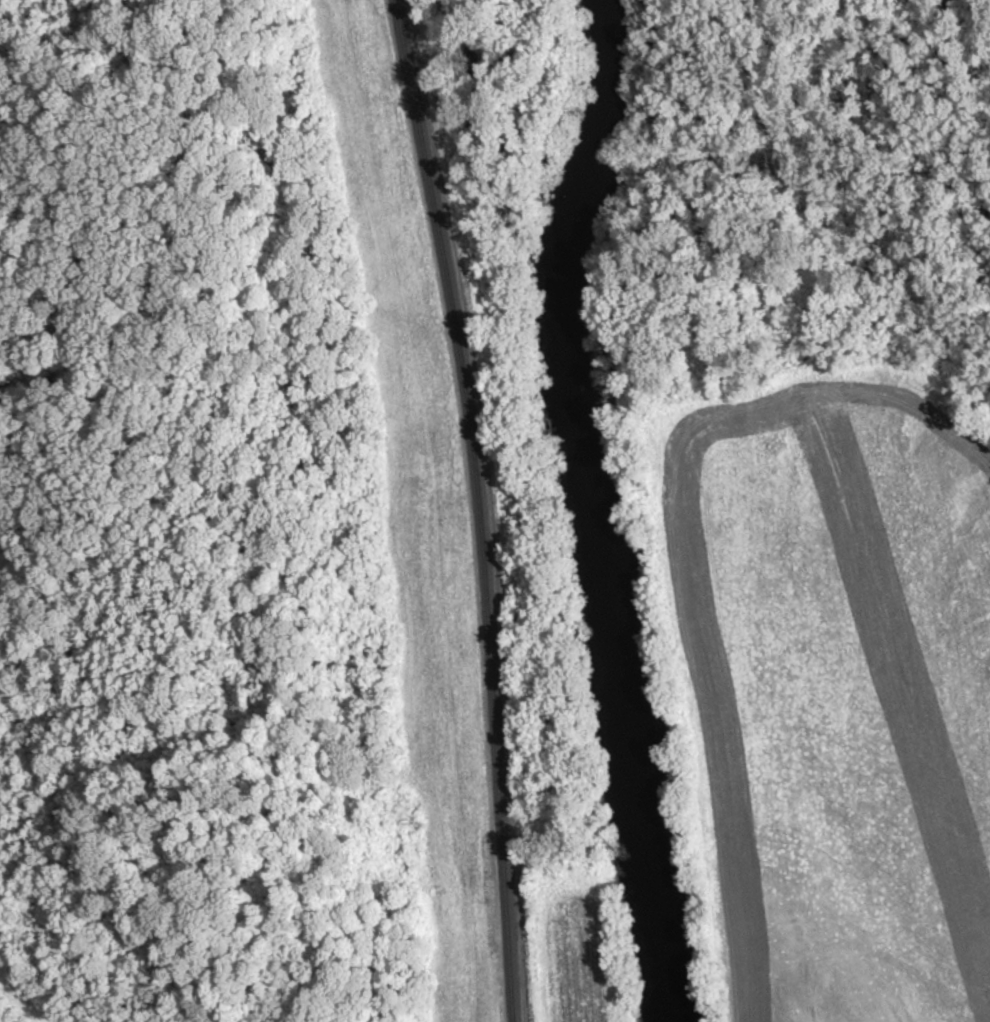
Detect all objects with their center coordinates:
railway: (480, 508)
crop: (836, 695)
crop: (576, 955)

